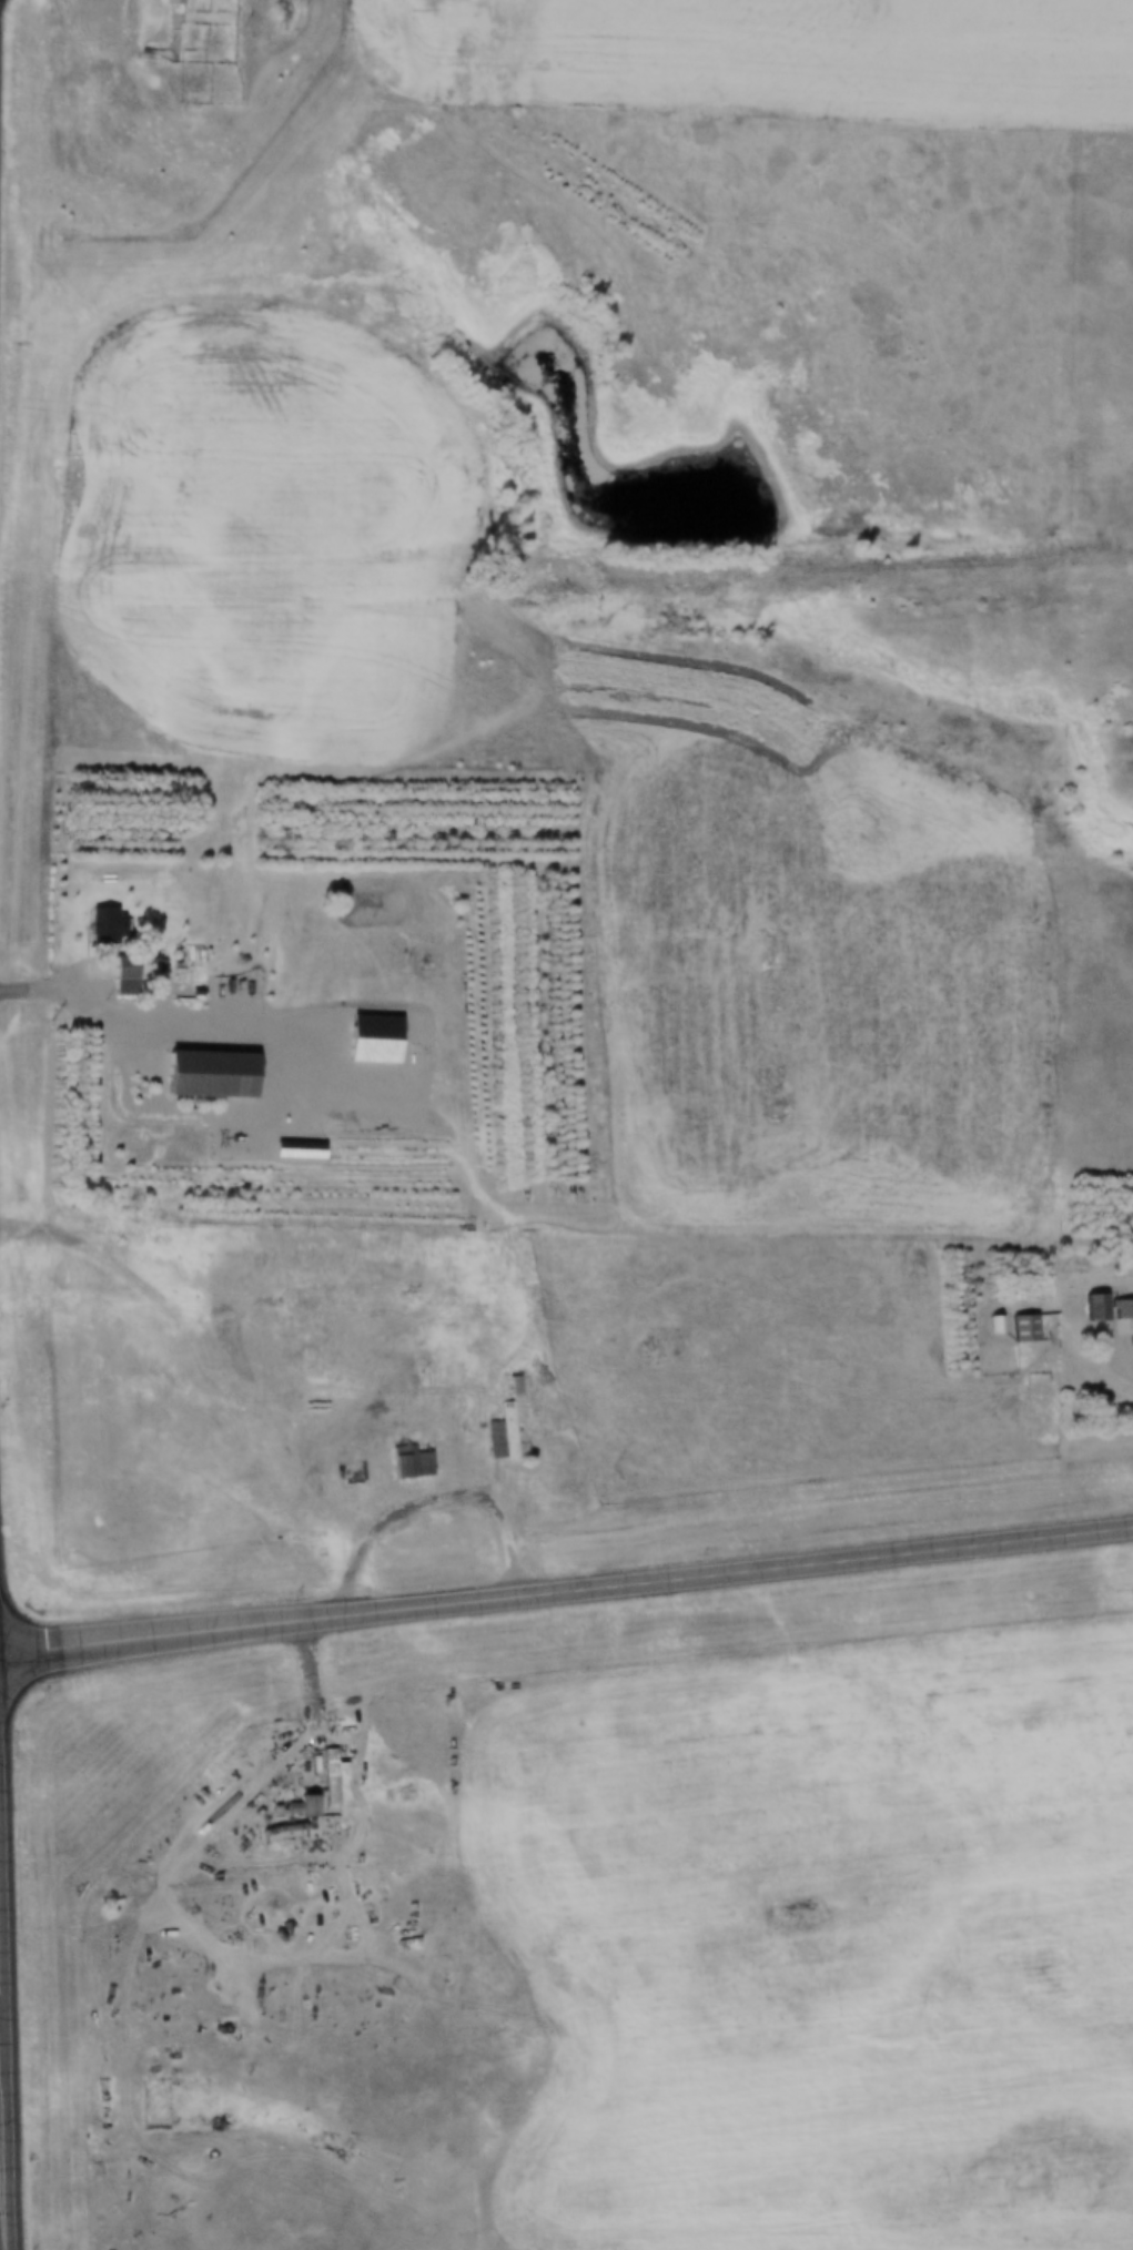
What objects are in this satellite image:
building: (172, 2)
building: (102, 925)
building: (123, 974)
building: (205, 1074)
building: (428, 1246)
building: (1094, 1307)
building: (1122, 1309)
building: (1023, 1327)
road: (1122, 1344)
building: (506, 1422)
road: (908, 1446)
building: (407, 1462)
road: (438, 1501)
road: (566, 1593)
road: (316, 1727)
road: (0, 2246)

